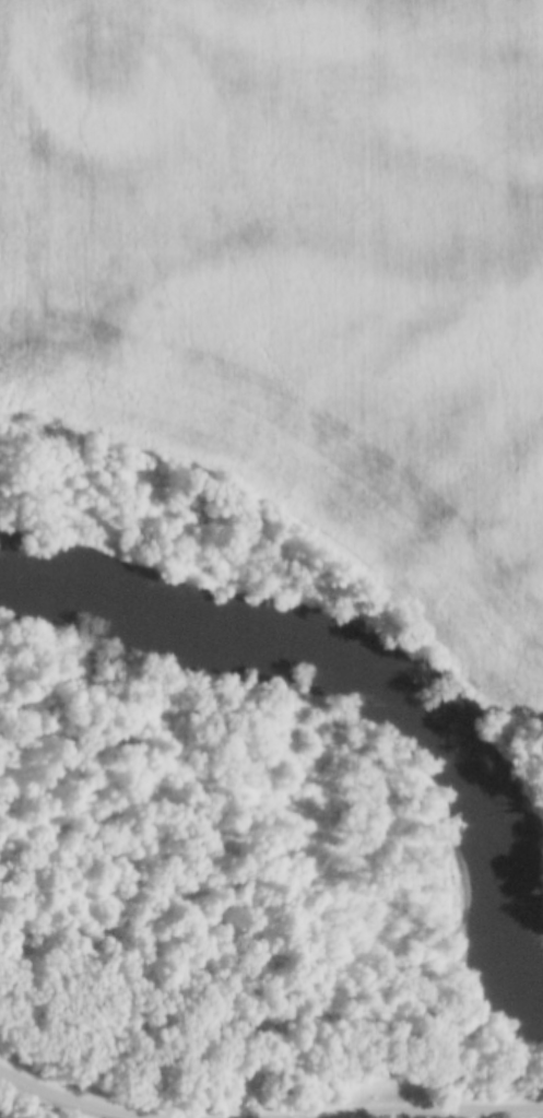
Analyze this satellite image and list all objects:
river: (361, 663)
road: (68, 1099)
road: (415, 1110)

